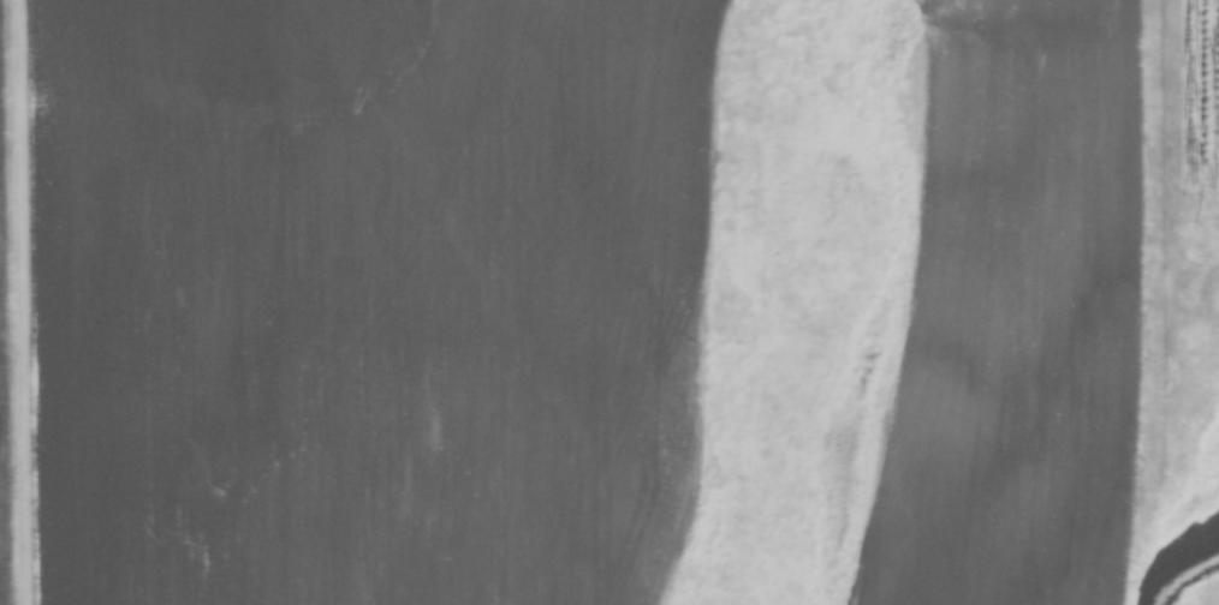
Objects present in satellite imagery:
river: (1177, 564)

